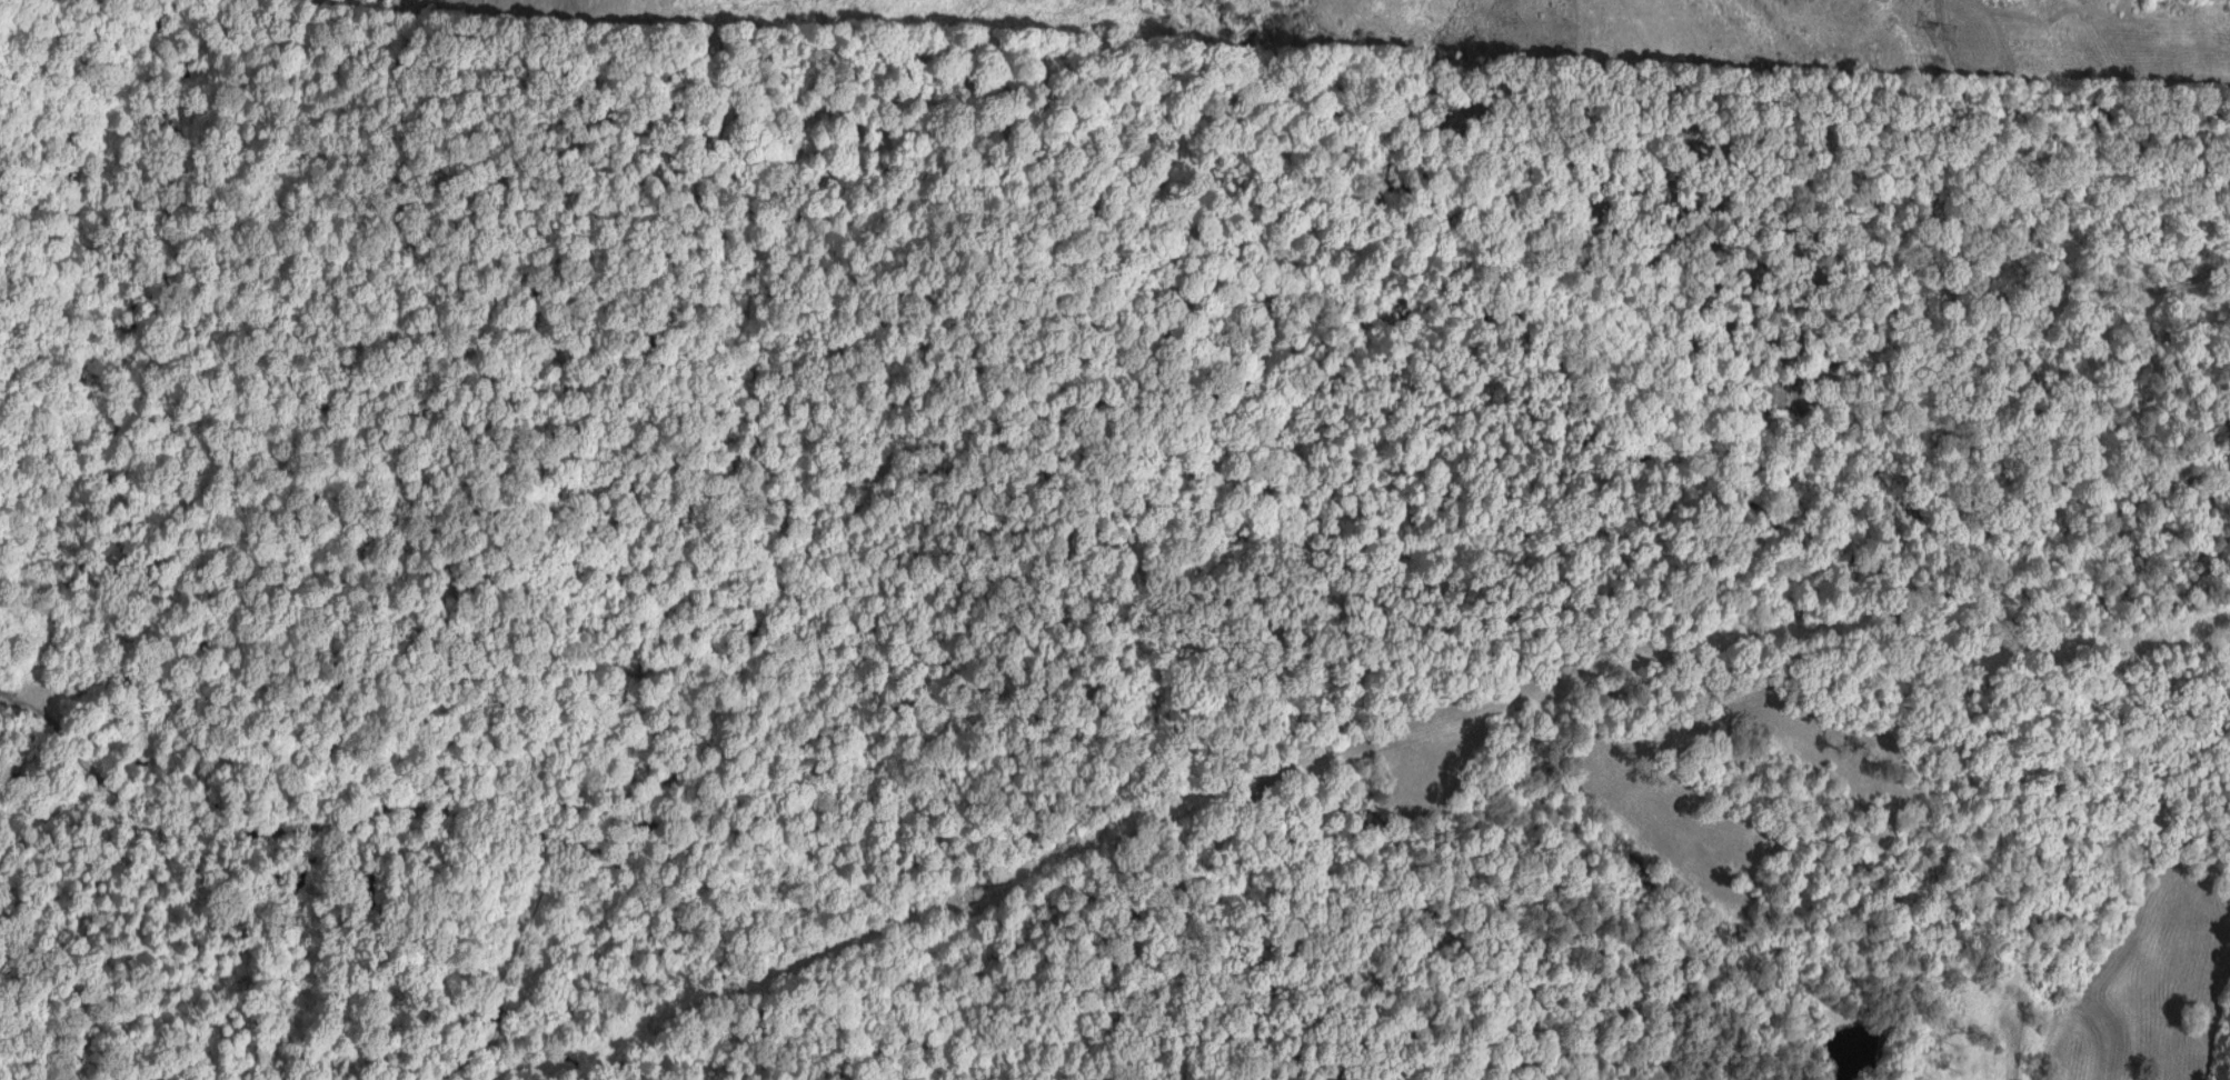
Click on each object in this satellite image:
road: (474, 813)

